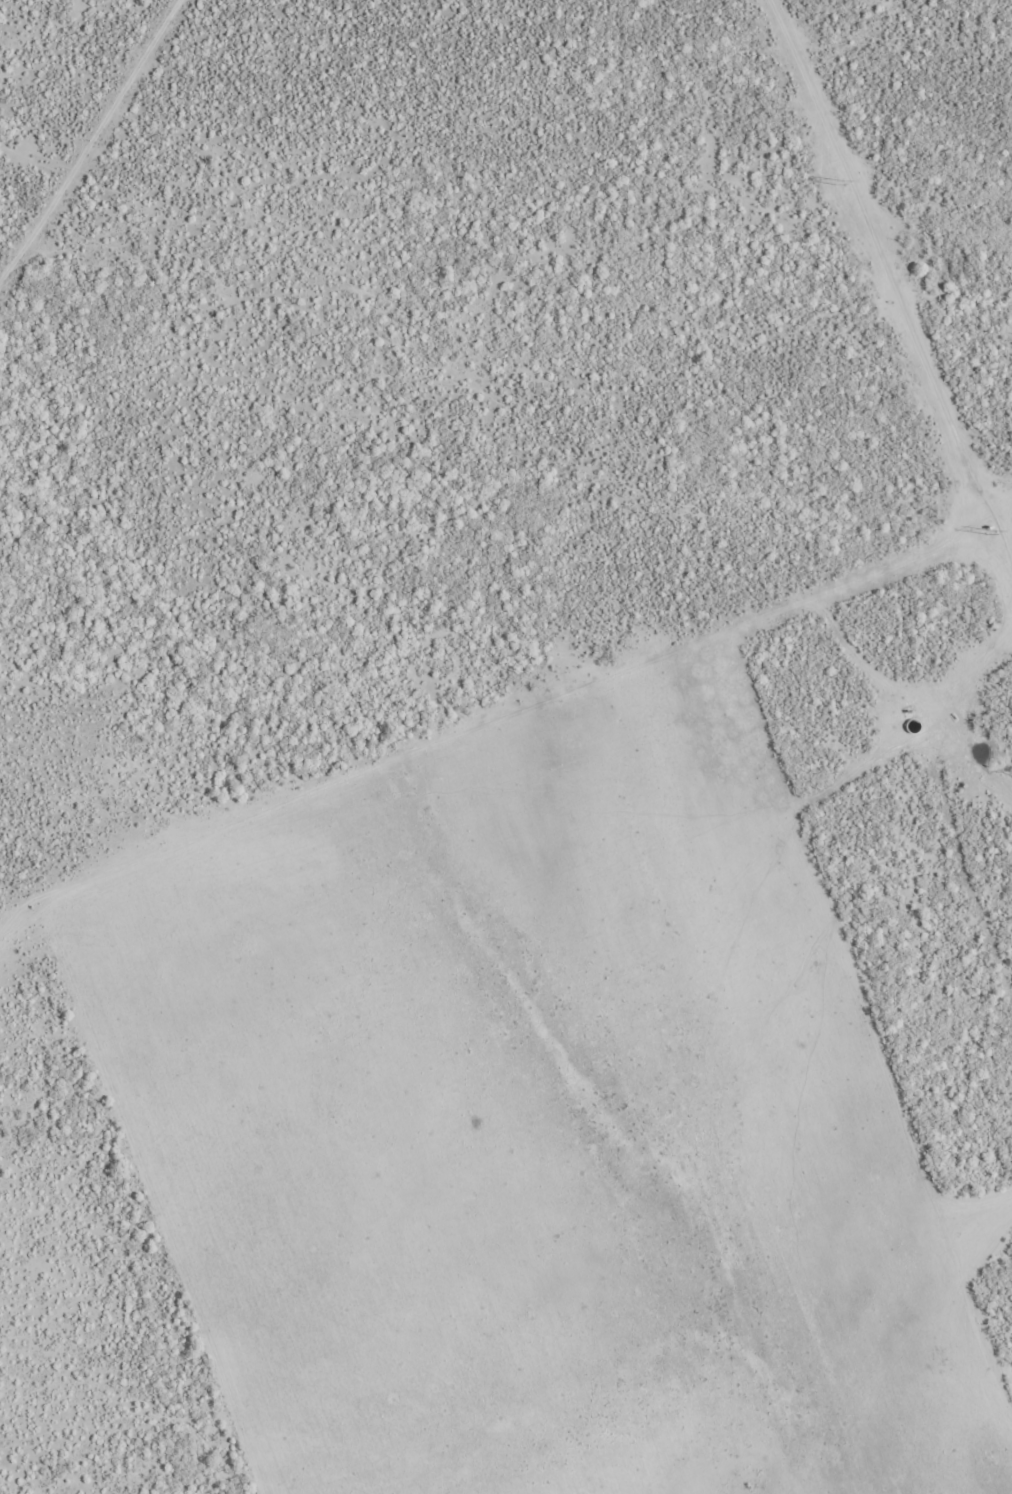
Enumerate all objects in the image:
road: (92, 150)
power tower: (838, 183)
power tower: (988, 534)

